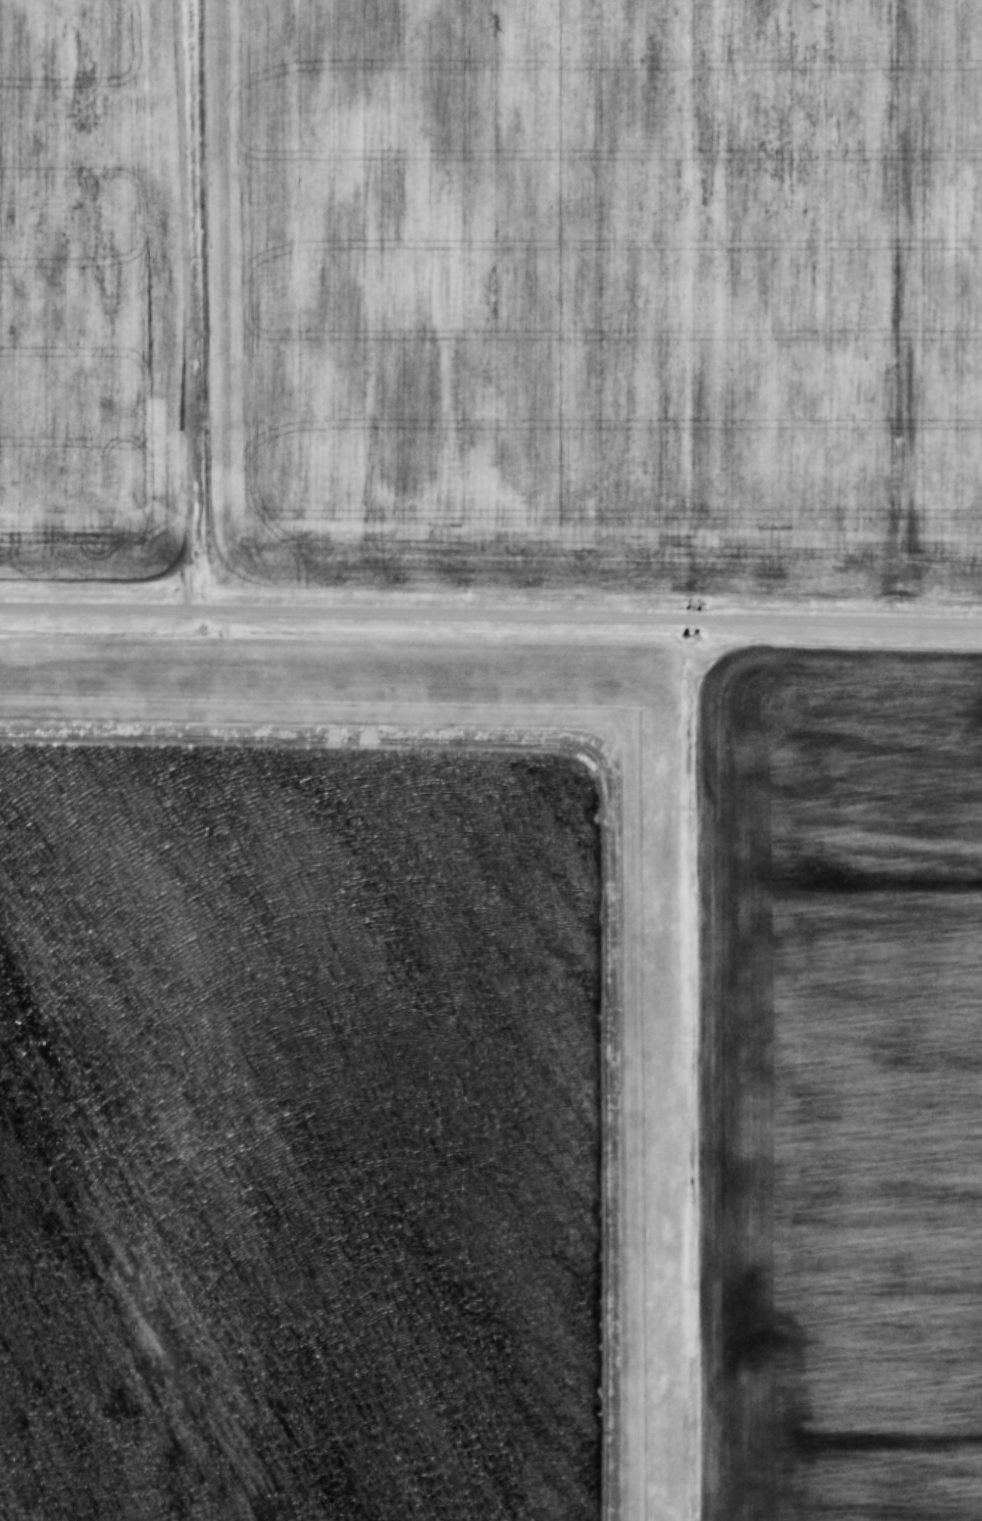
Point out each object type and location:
crop: (90, 290)
crop: (596, 294)
road: (490, 618)
crop: (841, 1088)
wastewater plant: (320, 1111)

